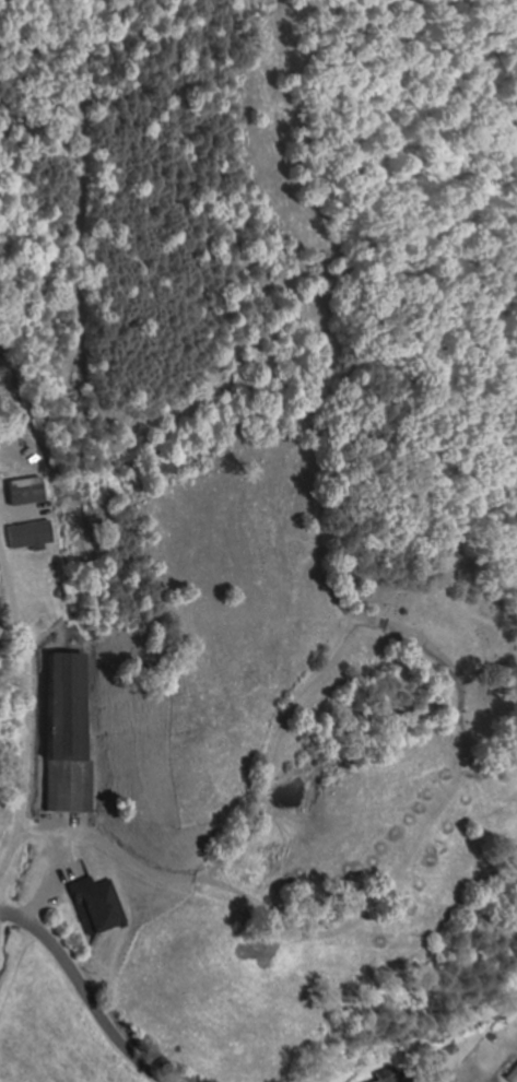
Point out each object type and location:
park: (449, 630)
building: (69, 740)
building: (97, 907)
road: (1, 913)
road: (84, 992)
building: (512, 1075)

